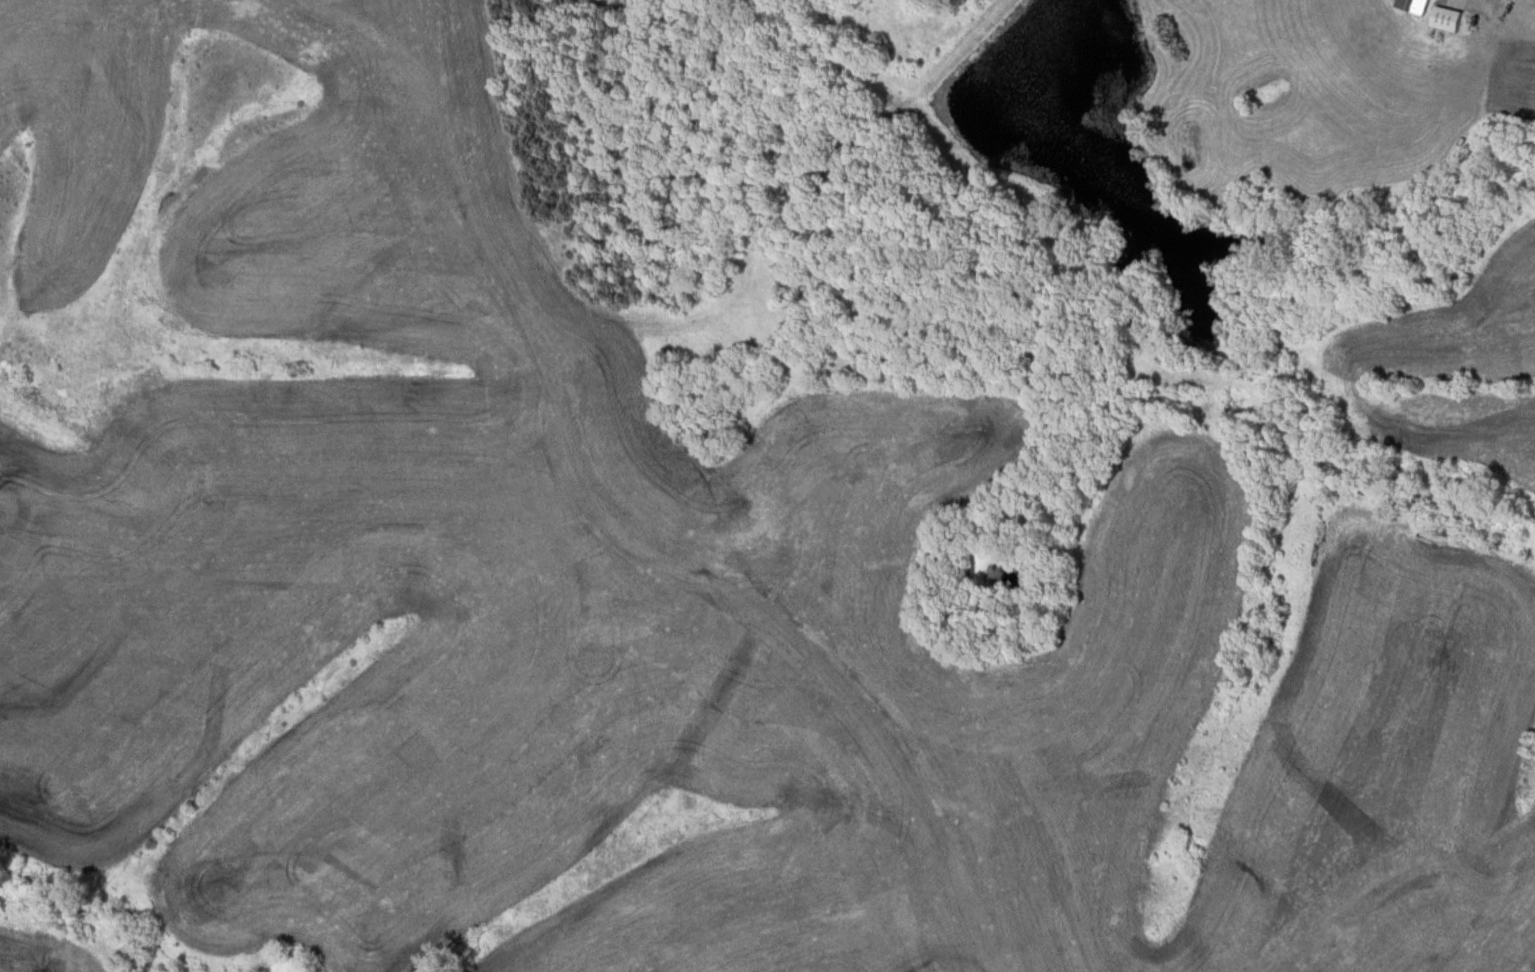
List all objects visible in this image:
building: (1409, 6)
building: (1443, 19)

